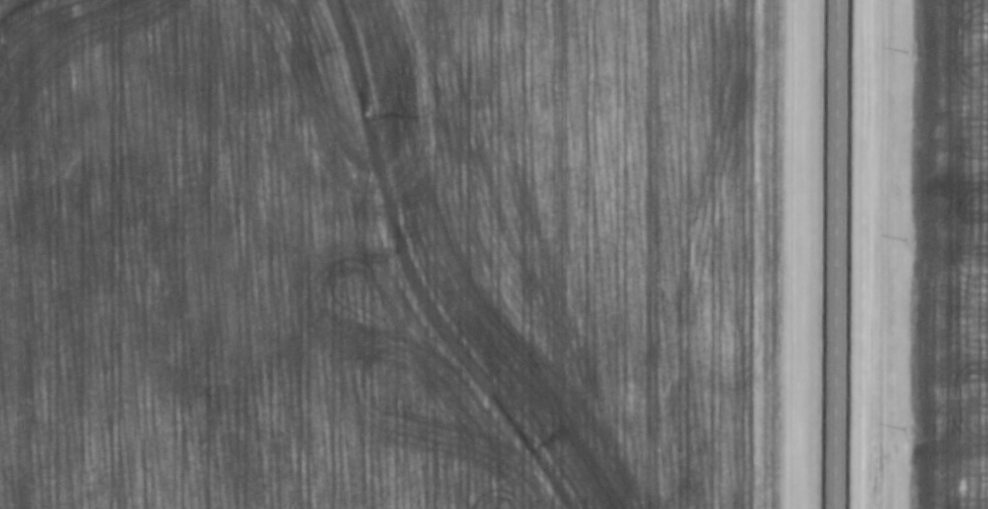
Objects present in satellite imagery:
road: (834, 254)

